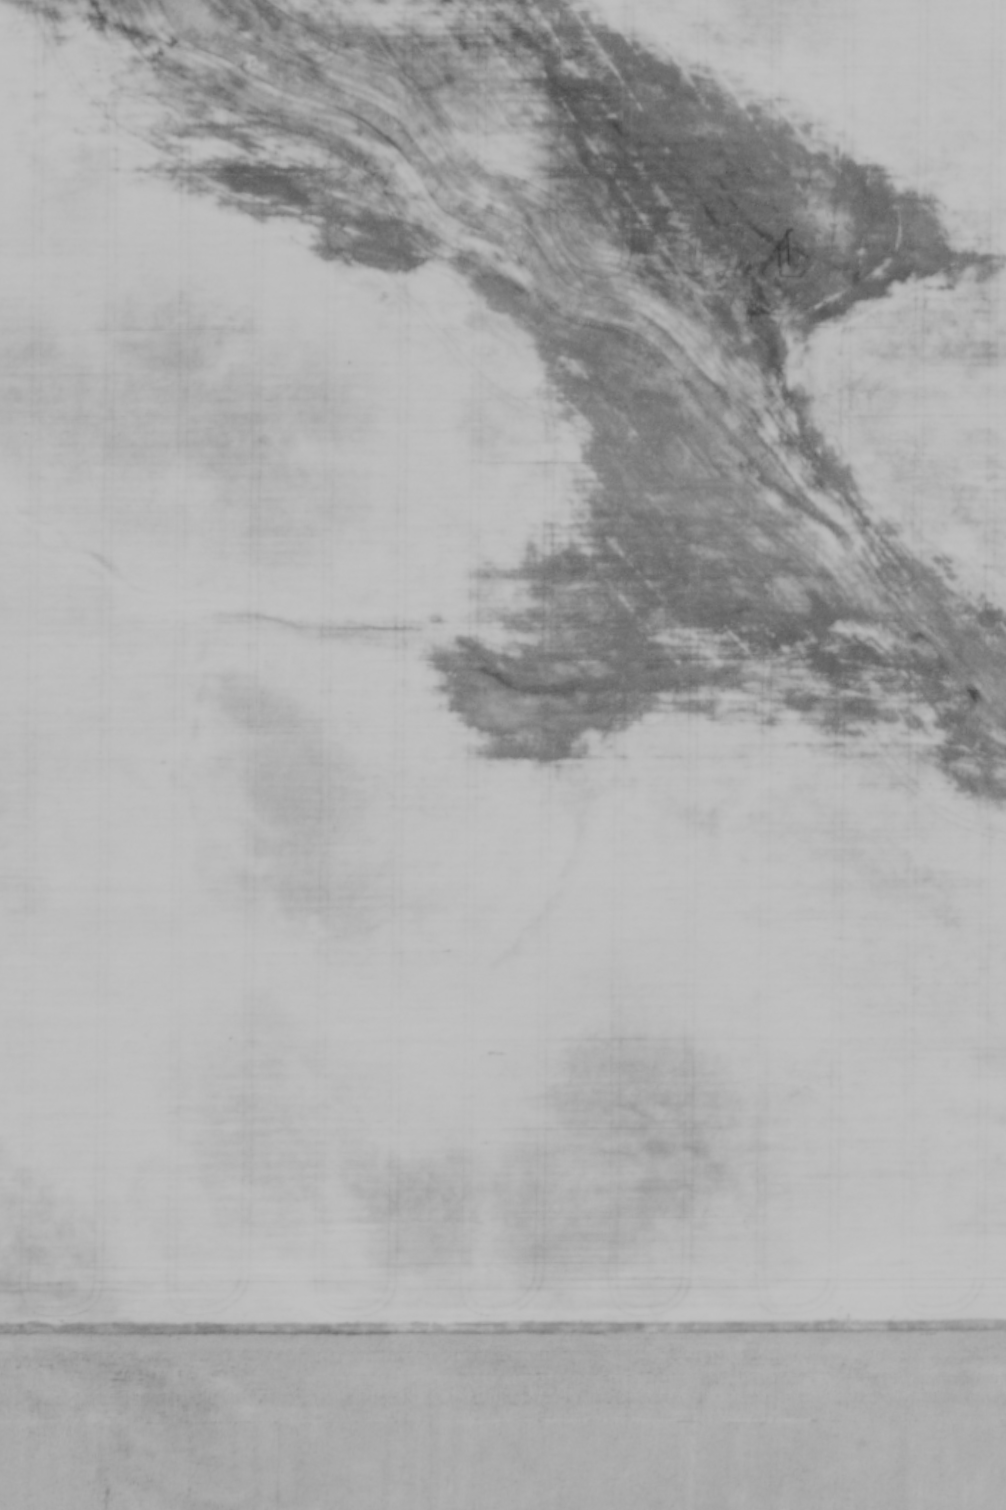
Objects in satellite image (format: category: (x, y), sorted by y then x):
power tower: (784, 266)

